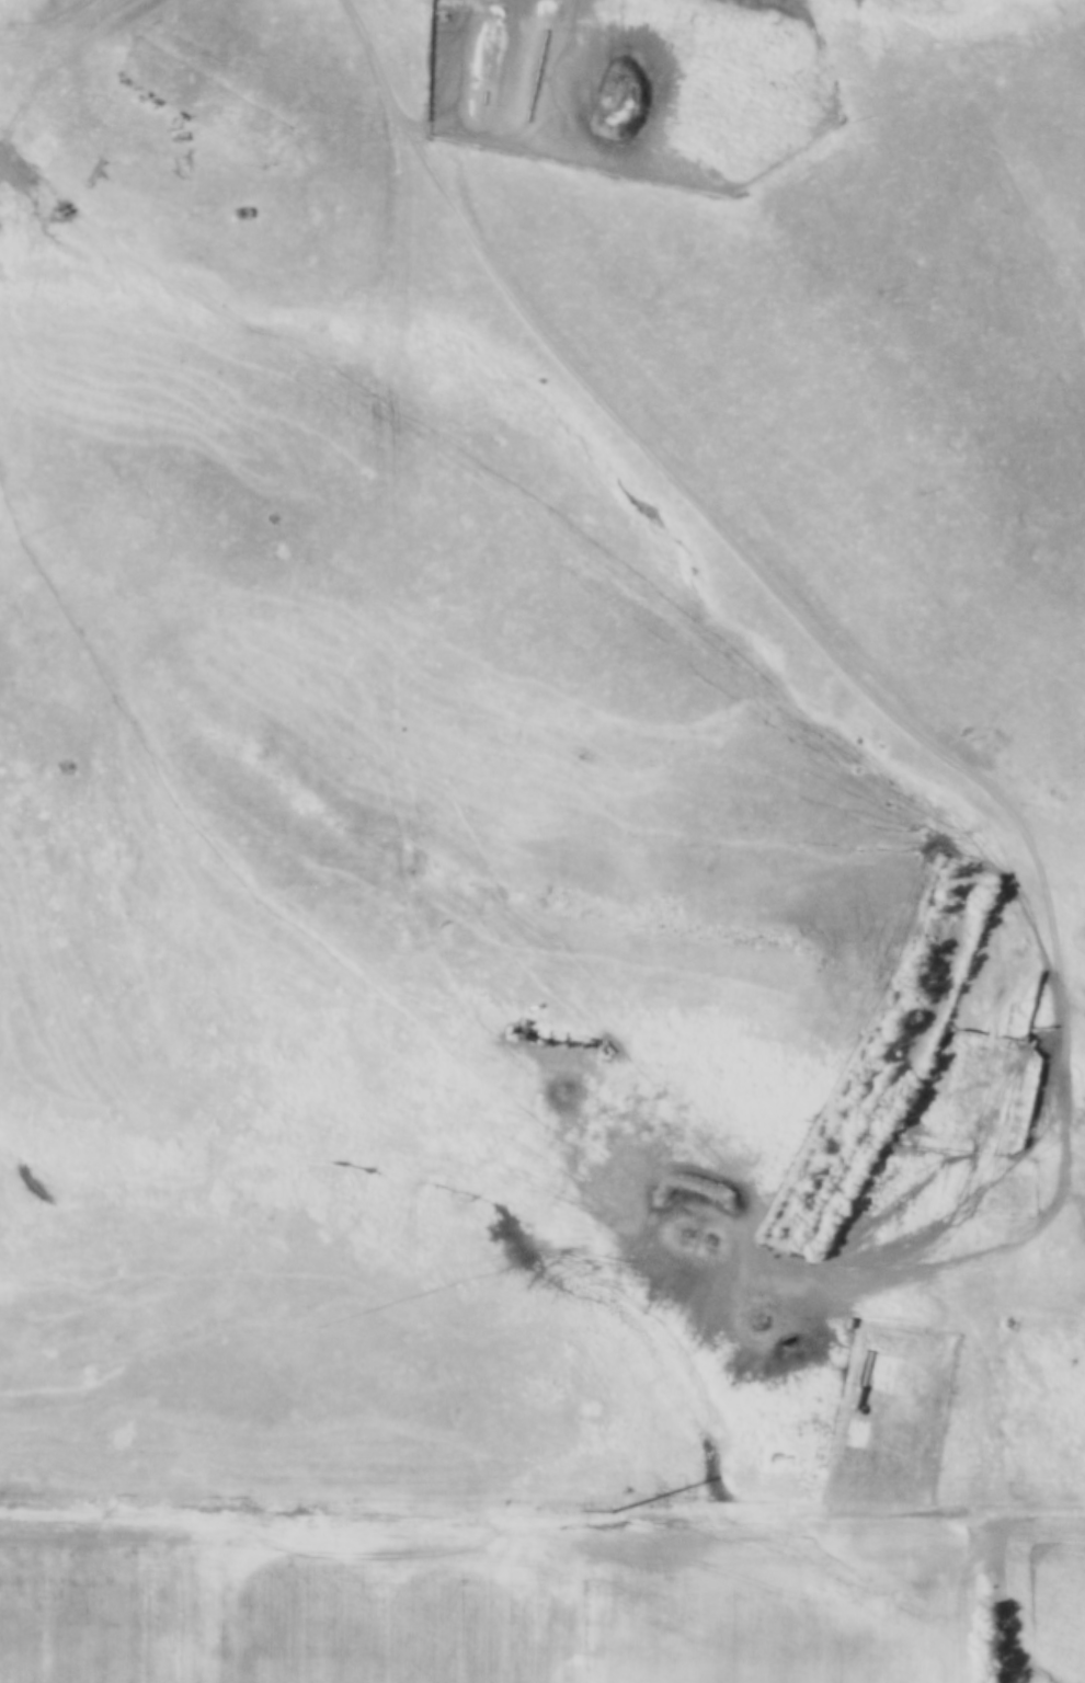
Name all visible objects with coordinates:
building: (215, 106)
road: (783, 596)
building: (966, 1186)
power tower: (606, 1508)

